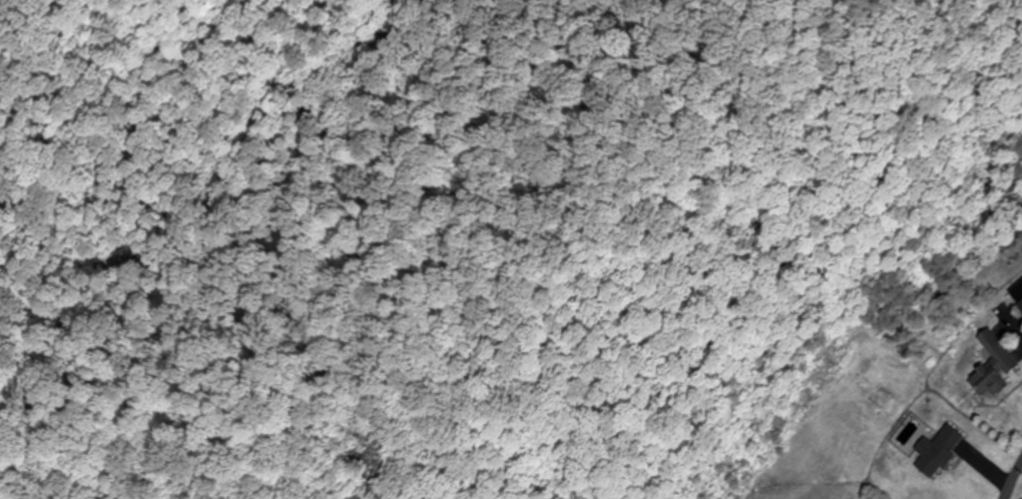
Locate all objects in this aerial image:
building: (1021, 308)
building: (997, 368)
building: (939, 451)
road: (1009, 479)
road: (835, 488)

